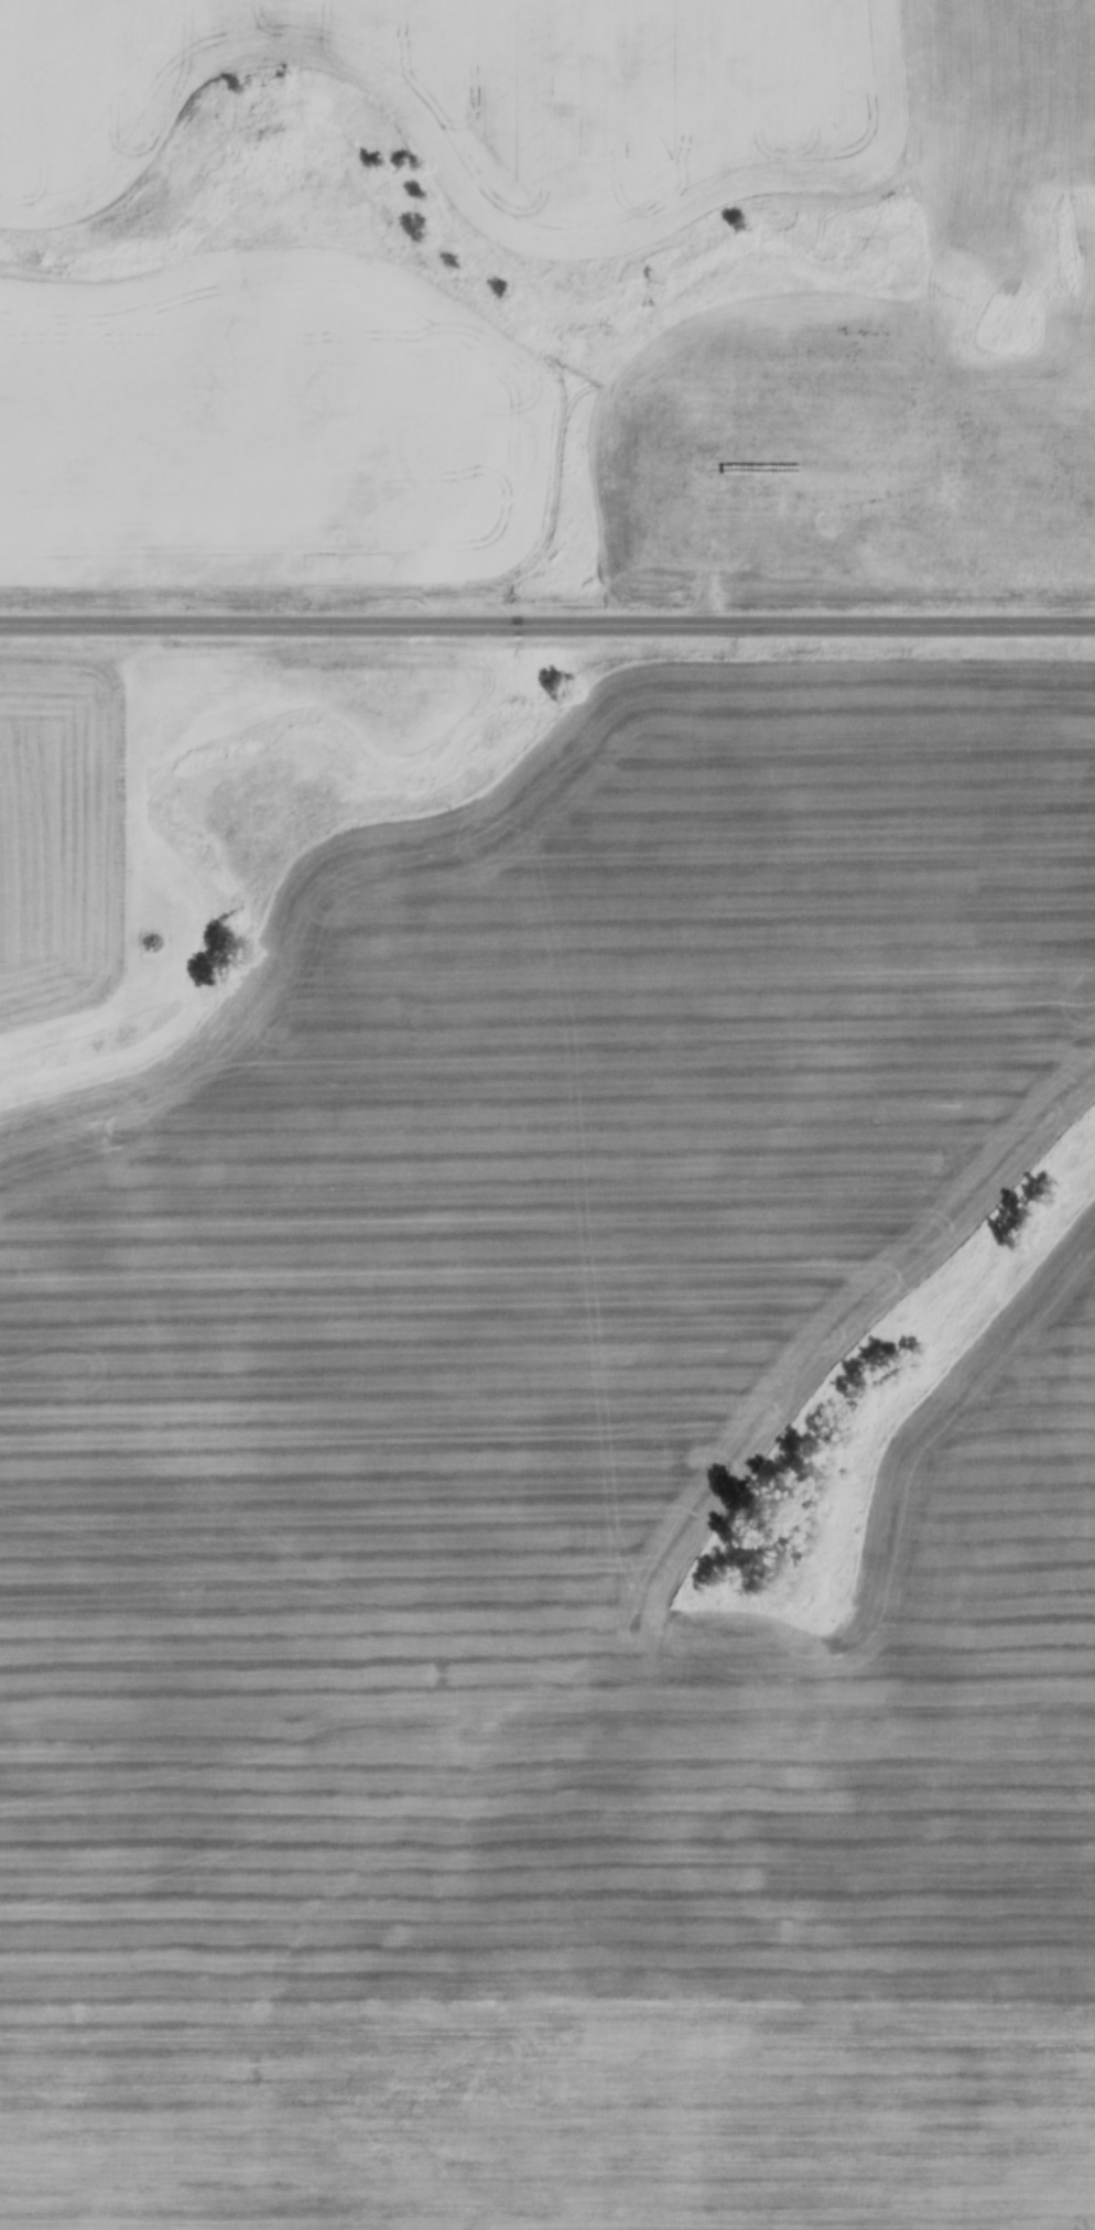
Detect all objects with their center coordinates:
crop: (473, 99)
road: (546, 621)

